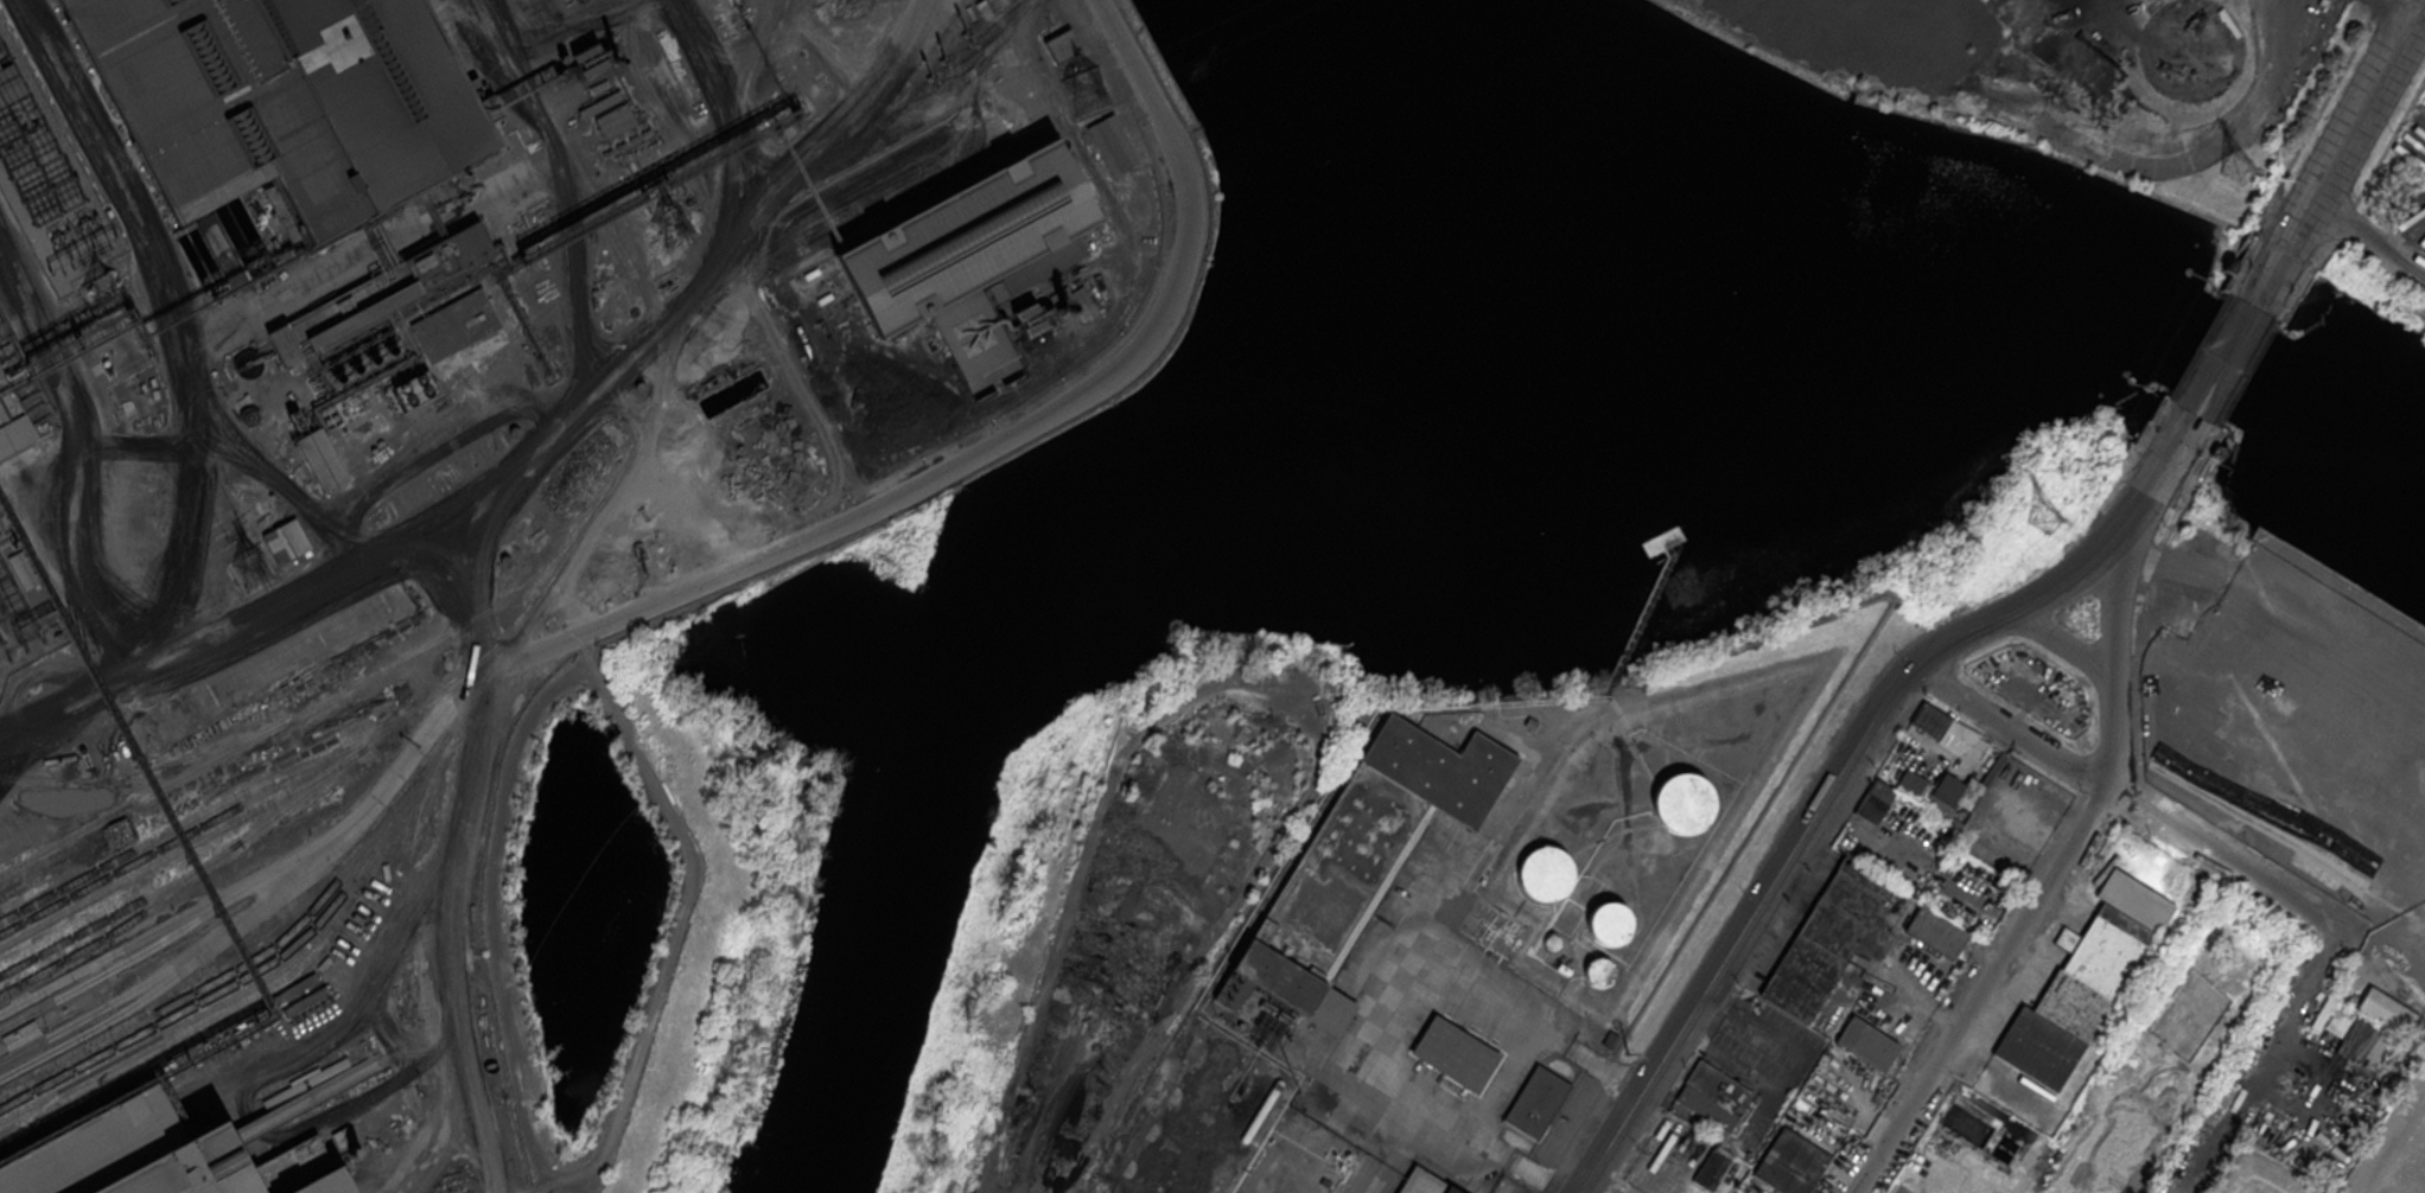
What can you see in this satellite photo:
road: (2419, 6)
road: (2407, 8)
traffic signals: (2417, 13)
building: (1061, 46)
power tower: (1086, 92)
building: (282, 98)
road: (2364, 106)
road: (2315, 117)
building: (616, 122)
road: (2239, 128)
road: (718, 135)
road: (2389, 142)
power tower: (2236, 170)
river: (1383, 183)
road: (558, 186)
power tower: (674, 222)
road: (2297, 224)
railway: (615, 237)
road: (2367, 237)
railway: (772, 244)
traffic signals: (2284, 251)
building: (973, 253)
building: (448, 257)
river: (2005, 306)
building: (332, 312)
building: (362, 315)
building: (453, 324)
road: (172, 325)
road: (2224, 356)
building: (991, 374)
building: (415, 389)
building: (12, 420)
road: (422, 445)
road: (75, 453)
building: (320, 457)
road: (529, 457)
traffic signals: (2166, 460)
road: (2155, 478)
road: (637, 484)
power tower: (2043, 522)
building: (285, 538)
road: (763, 557)
road: (2082, 563)
power tower: (252, 574)
road: (2119, 586)
power substation: (21, 612)
river: (999, 626)
road: (467, 629)
railway: (508, 633)
road: (2063, 642)
railway: (316, 702)
building: (1943, 728)
building: (1987, 768)
railway: (145, 773)
building: (1933, 790)
building: (1875, 800)
building: (1684, 803)
storage tank: (1684, 803)
road: (2134, 806)
railway: (208, 822)
railway: (184, 849)
building: (1354, 869)
building: (1545, 873)
storage tank: (1545, 873)
park: (1050, 876)
railway: (187, 879)
road: (1772, 882)
road: (234, 895)
railway: (121, 910)
railway: (327, 924)
building: (1609, 924)
storage tank: (1609, 924)
road: (456, 925)
building: (1936, 931)
road: (674, 932)
building: (1826, 938)
building: (1552, 942)
storage tank: (1552, 942)
road: (2010, 943)
road: (2332, 944)
road: (1752, 950)
building: (2102, 956)
railway: (421, 963)
building: (1598, 970)
storage tank: (1598, 970)
road: (64, 988)
road: (359, 990)
building: (2386, 1010)
building: (2322, 1012)
building: (2336, 1022)
building: (20, 1035)
railway: (261, 1036)
building: (1866, 1042)
building: (2356, 1042)
road: (52, 1045)
building: (2375, 1048)
power tower: (1625, 1052)
building: (1456, 1053)
road: (2251, 1073)
building: (1718, 1087)
building: (1535, 1101)
building: (1950, 1110)
storage tank: (1950, 1110)
building: (1959, 1115)
storage tank: (1959, 1115)
building: (1967, 1121)
storage tank: (1967, 1121)
building: (1975, 1125)
storage tank: (1975, 1125)
building: (1985, 1131)
storage tank: (1985, 1131)
road: (1457, 1135)
building: (208, 1142)
building: (2134, 1155)
building: (1789, 1163)
building: (1713, 1167)
building: (1422, 1182)
building: (2117, 1184)
building: (1969, 1187)
road: (1586, 1191)

